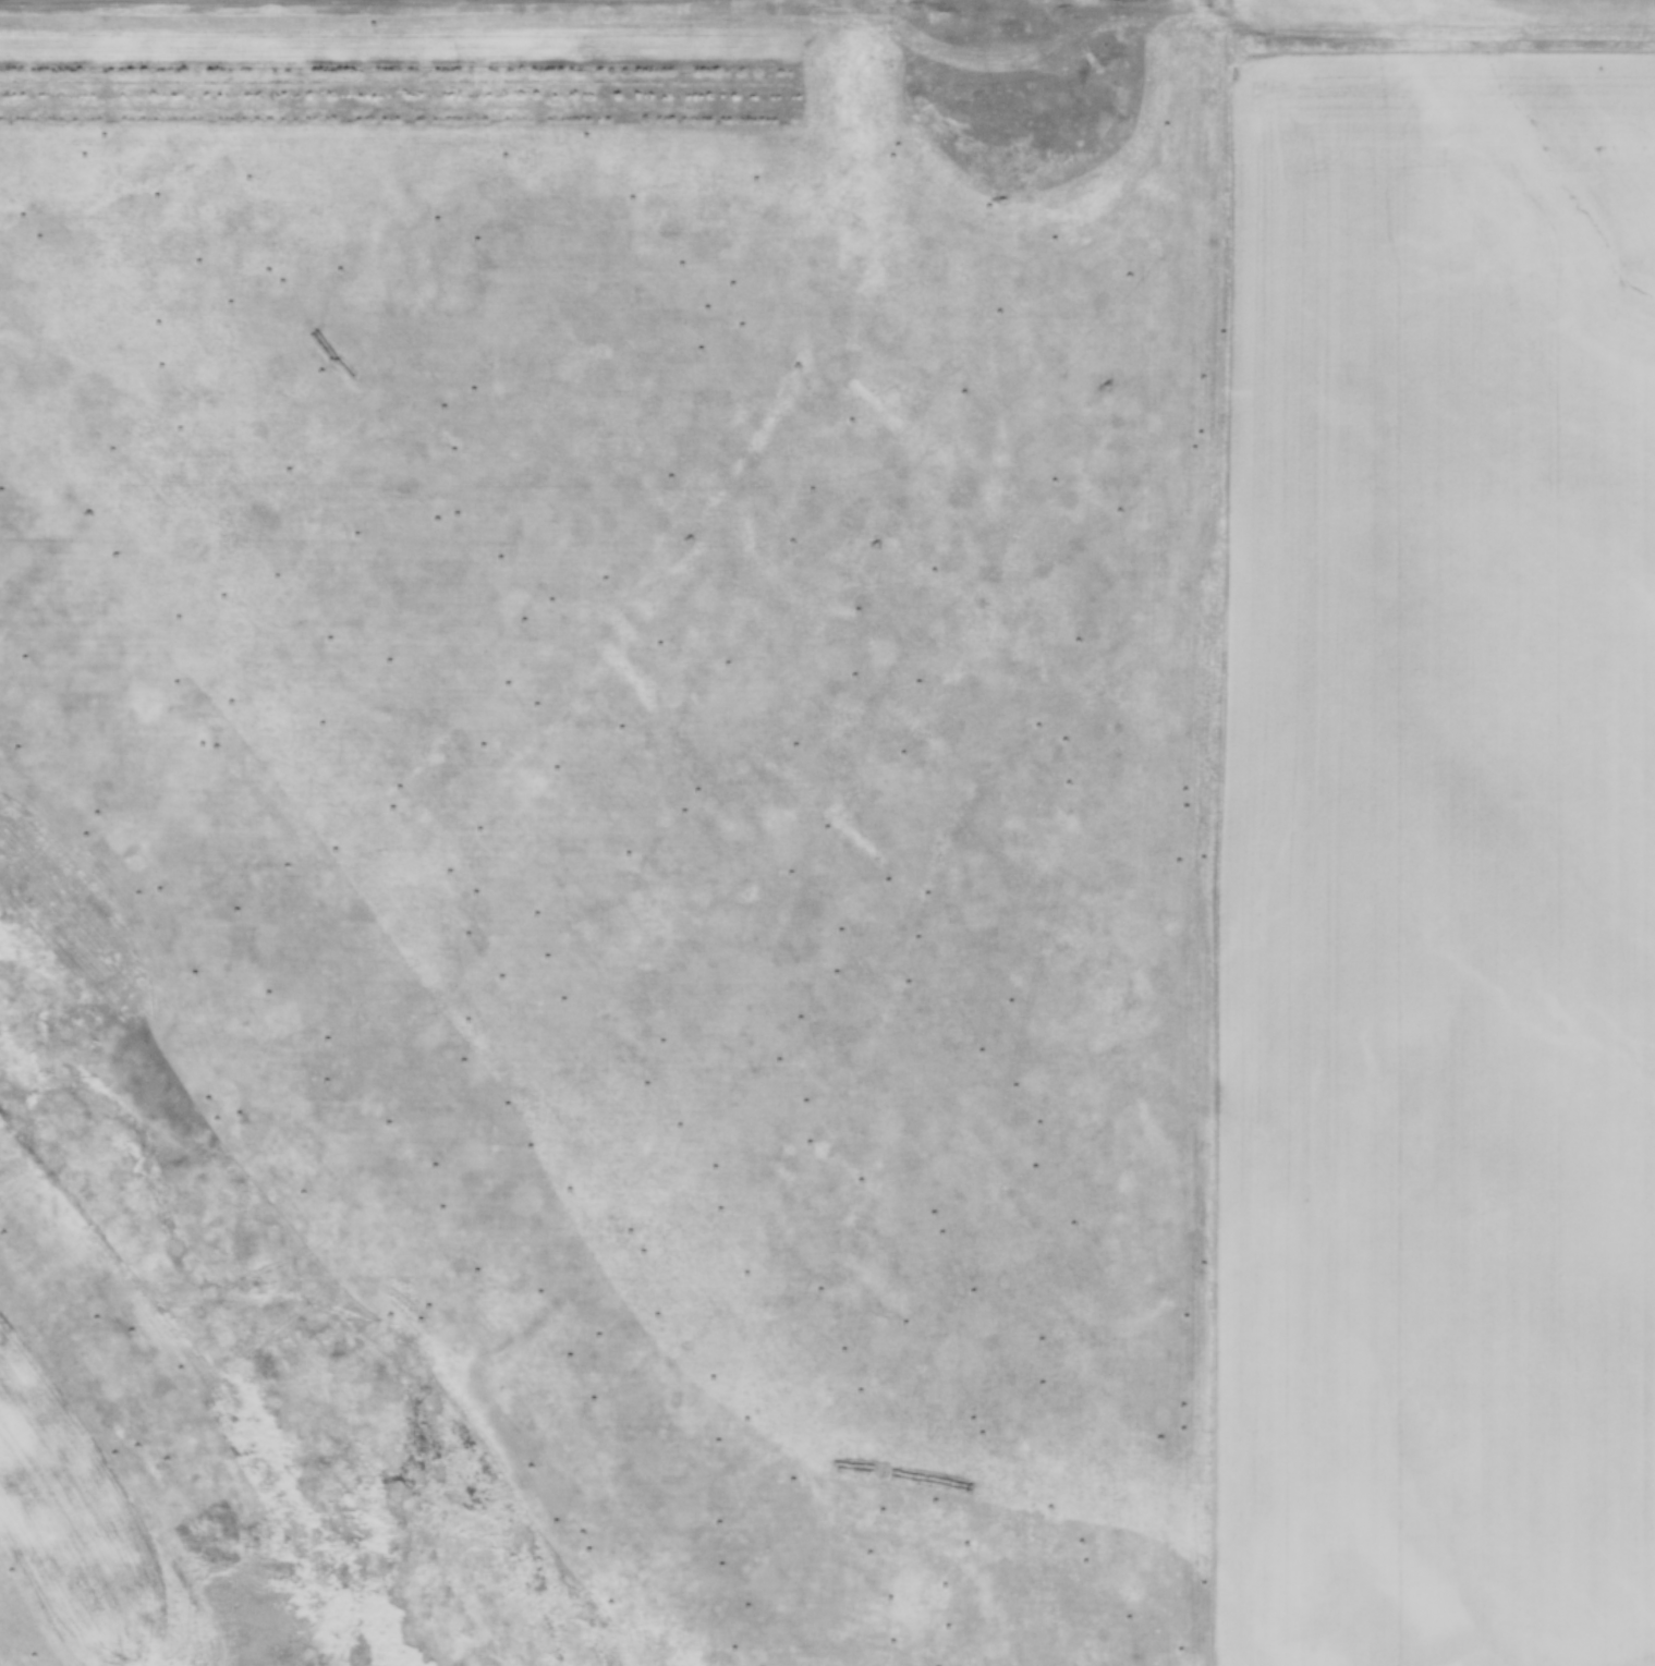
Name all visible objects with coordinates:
road: (1208, 832)

